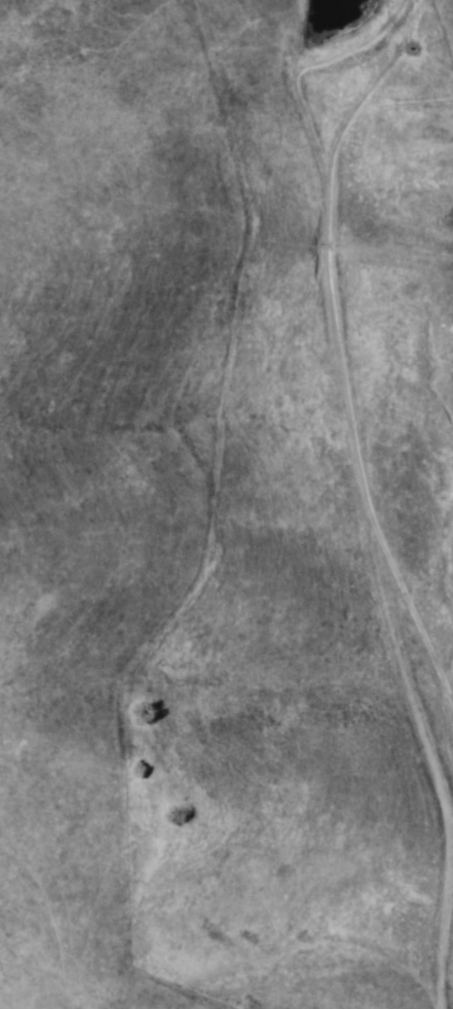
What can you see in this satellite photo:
crop: (226, 504)
road: (395, 644)

